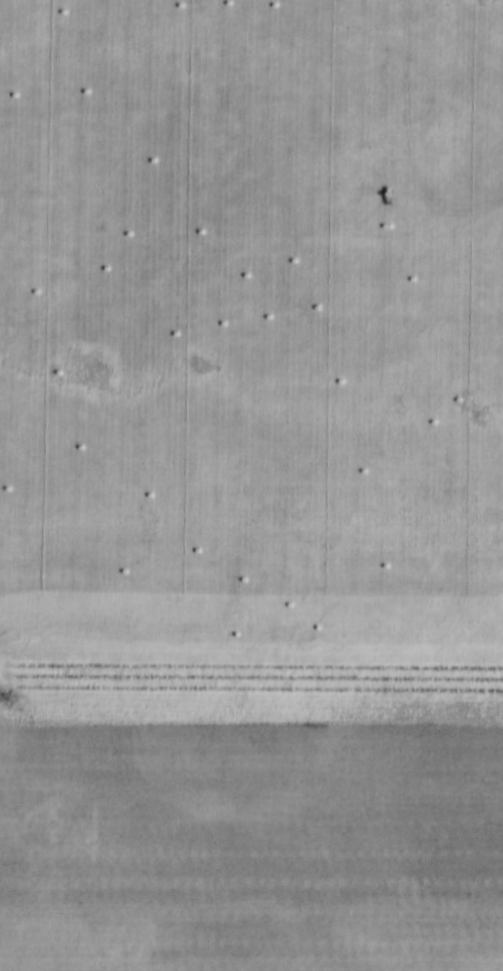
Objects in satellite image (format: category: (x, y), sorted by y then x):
quarry: (251, 485)

